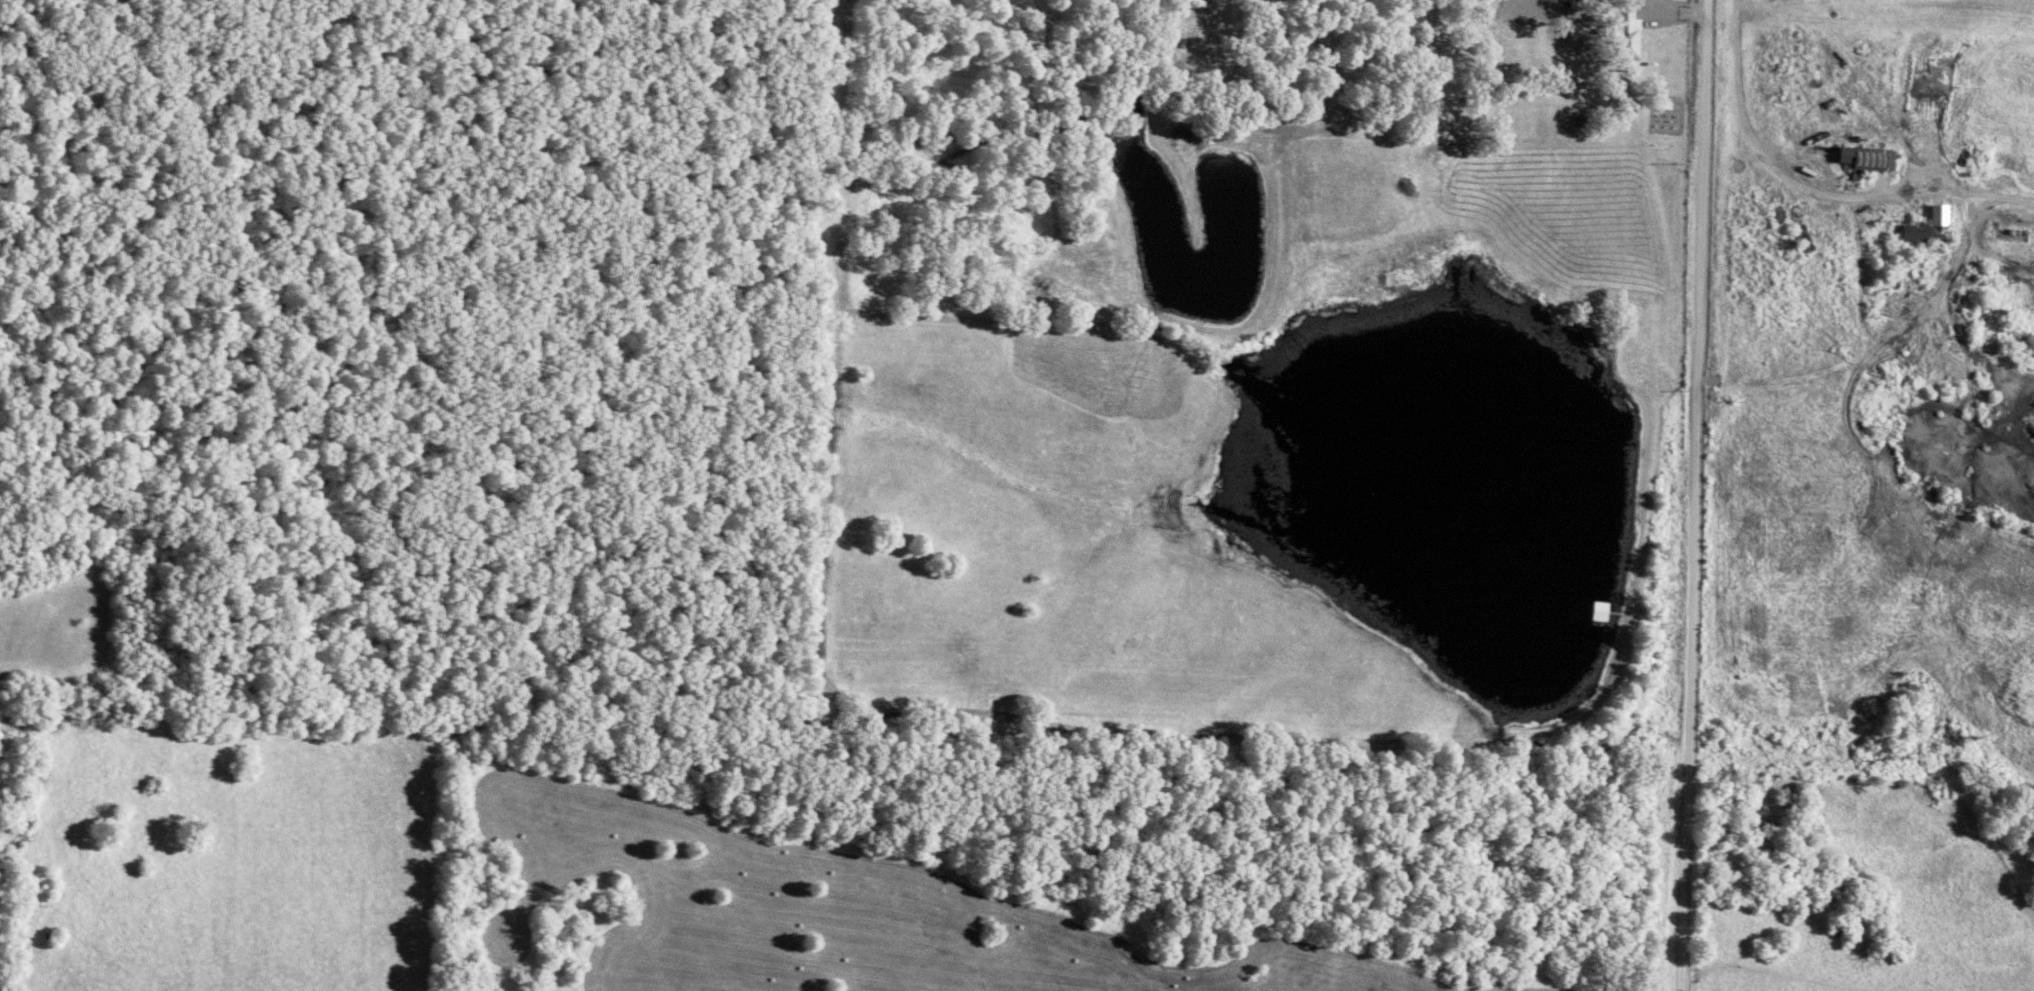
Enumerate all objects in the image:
building: (1622, 28)
building: (1865, 156)
road: (1814, 188)
building: (1927, 224)
road: (1694, 495)

